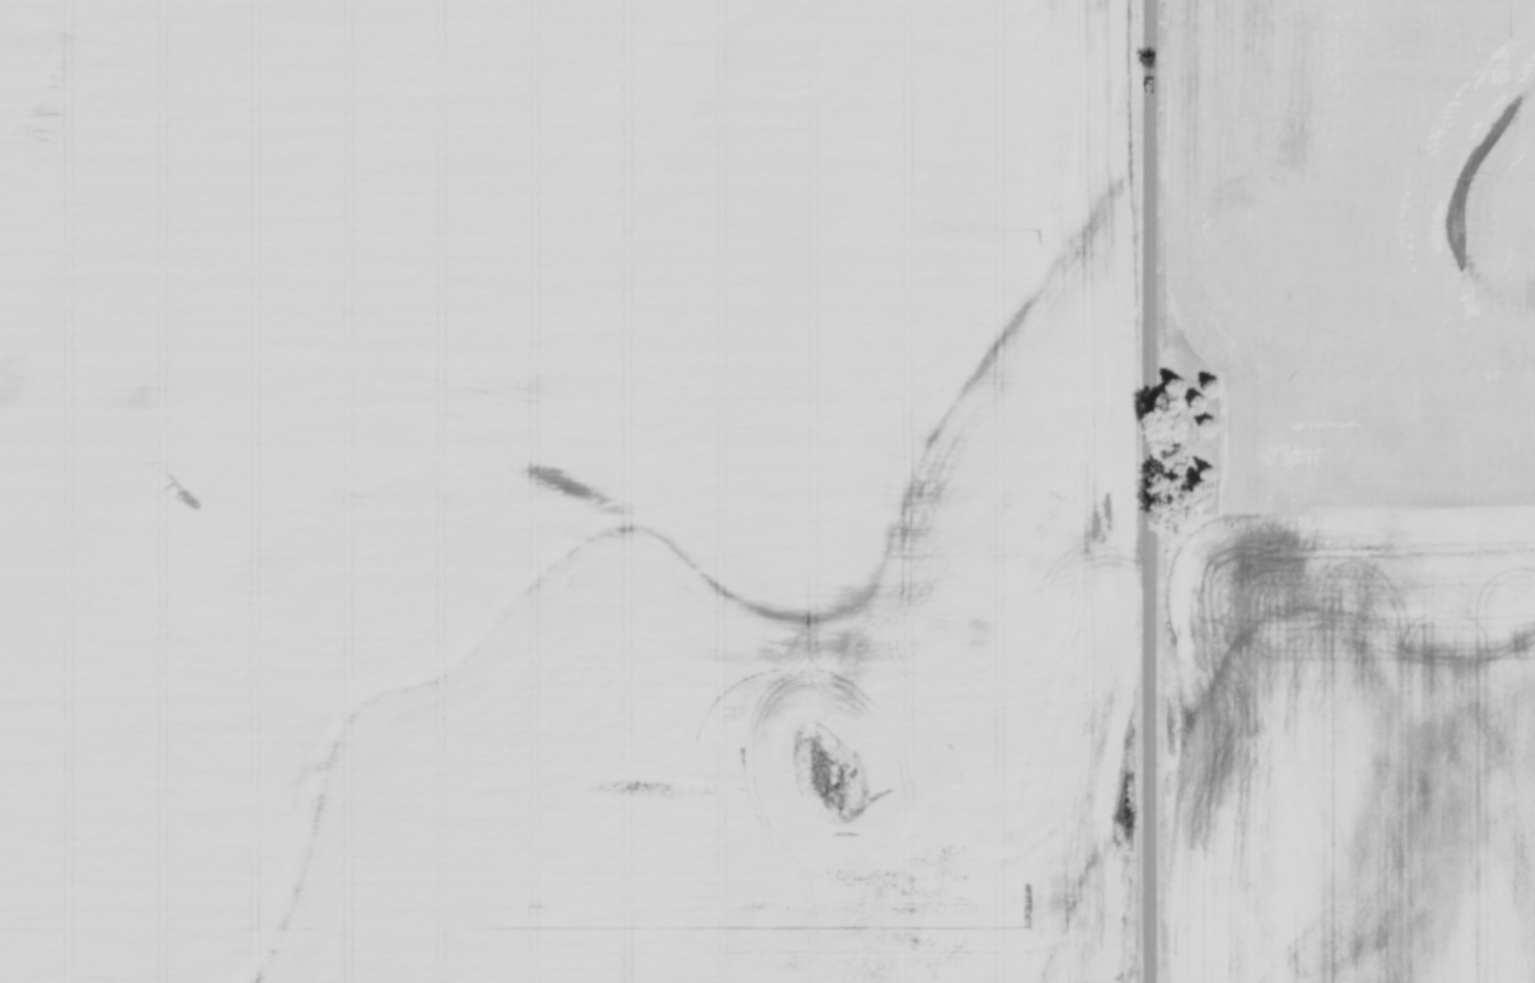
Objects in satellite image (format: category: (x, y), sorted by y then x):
road: (1156, 491)
road: (865, 980)
road: (1130, 981)

